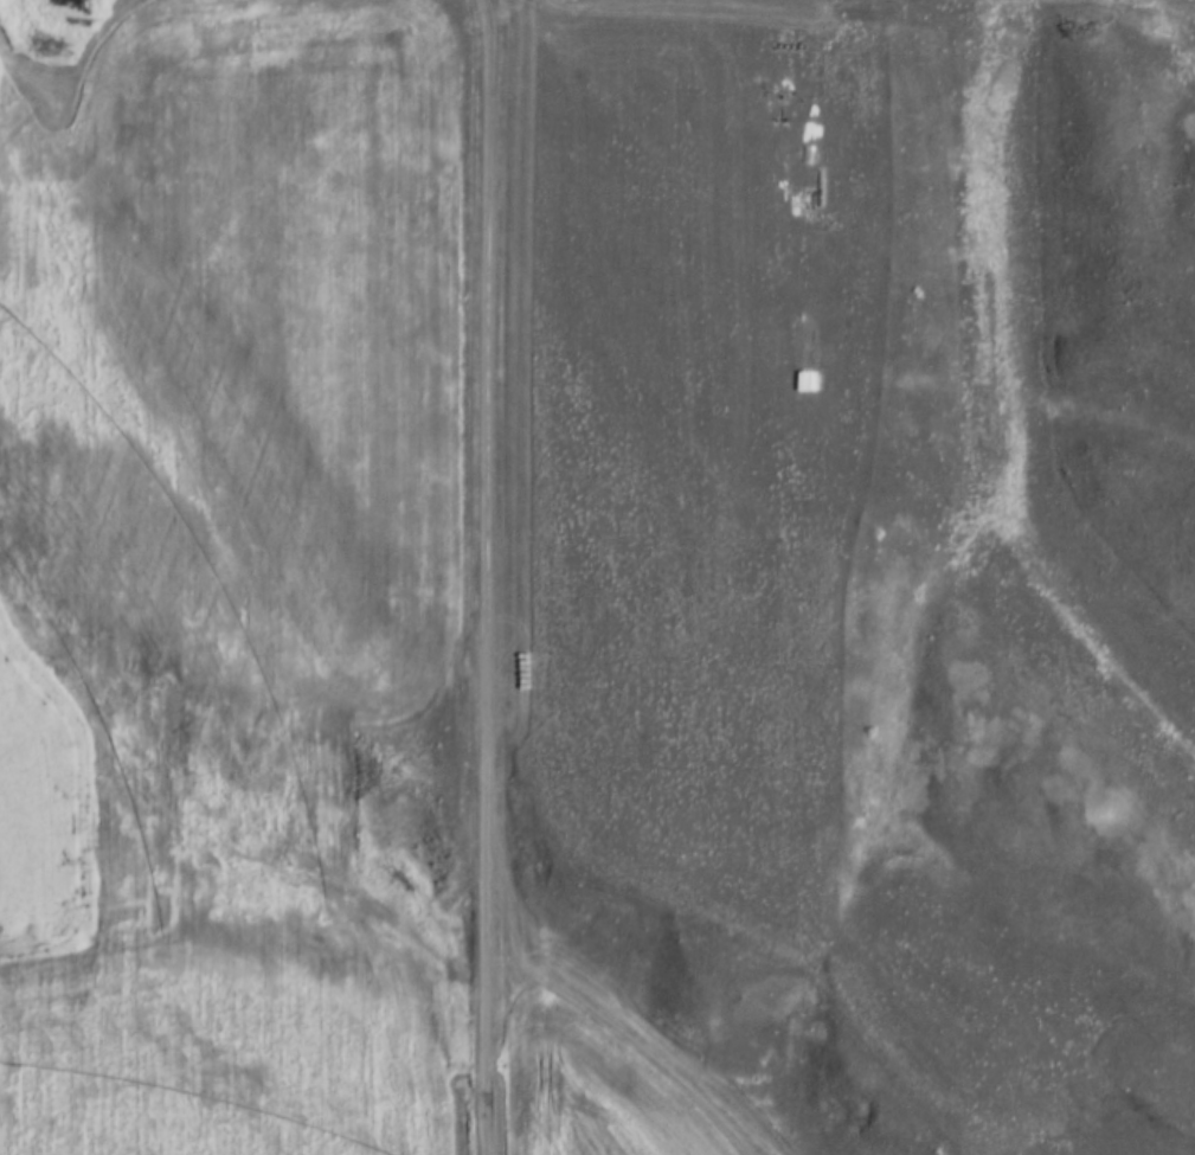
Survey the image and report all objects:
road: (492, 577)

